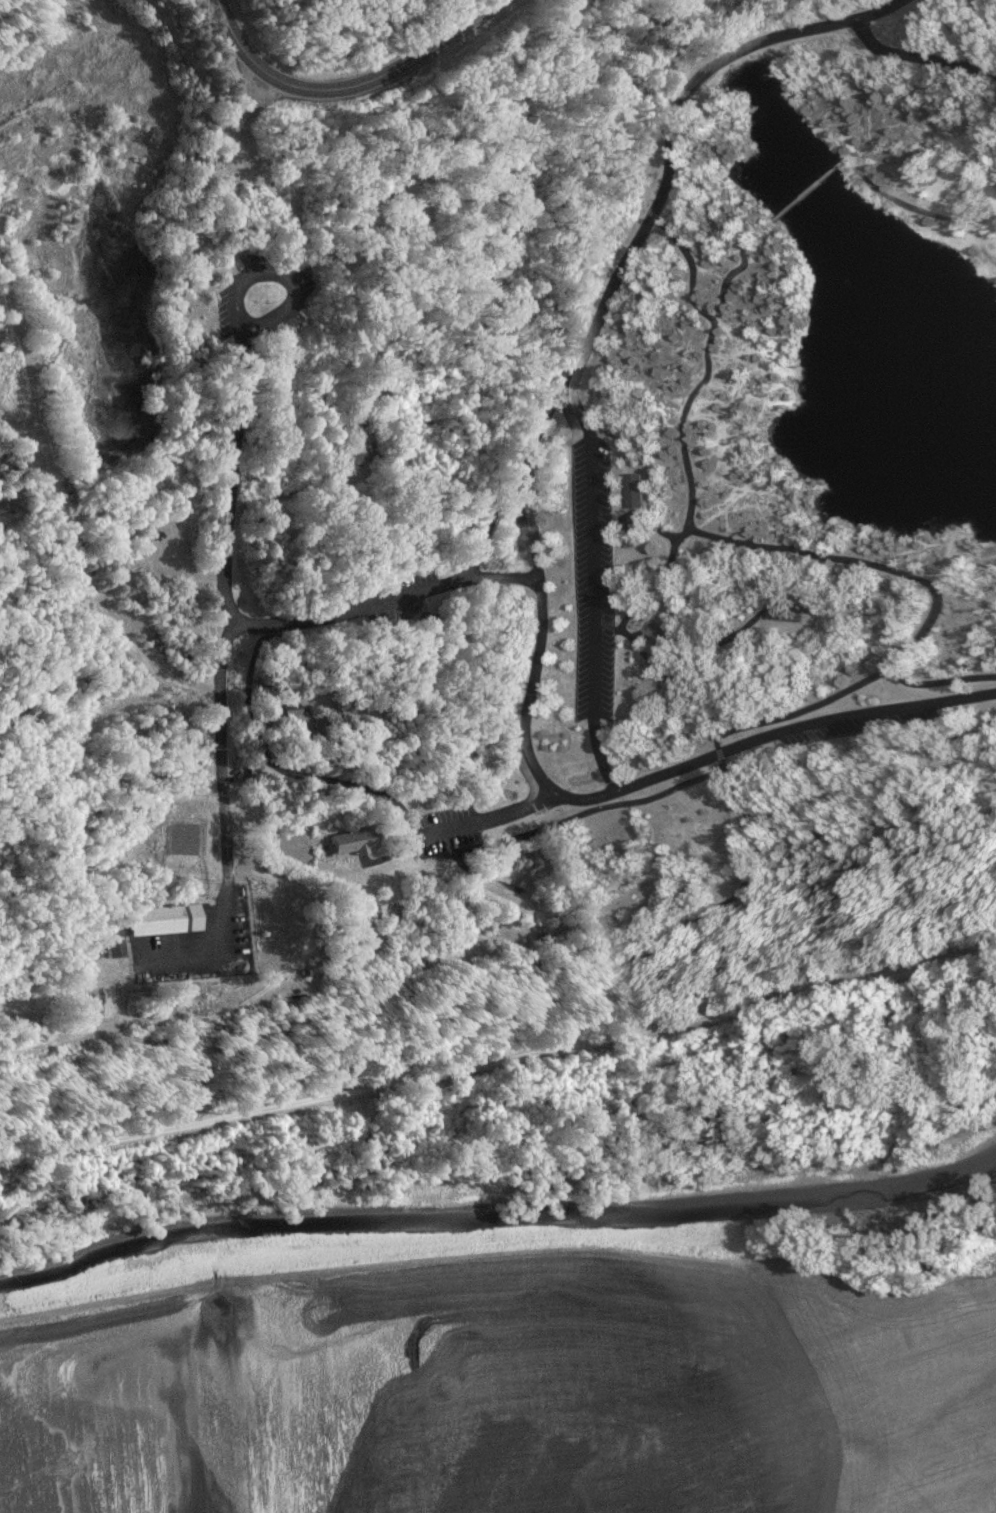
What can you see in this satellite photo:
road: (663, 61)
road: (916, 62)
road: (351, 84)
road: (796, 194)
road: (920, 211)
road: (729, 271)
parking lot: (262, 298)
road: (29, 348)
road: (17, 421)
building: (366, 453)
road: (236, 461)
building: (631, 490)
road: (639, 519)
road: (494, 522)
road: (686, 523)
park: (483, 533)
road: (530, 543)
road: (501, 577)
parking lot: (587, 581)
road: (653, 588)
road: (589, 590)
road: (95, 592)
building: (786, 612)
parking lot: (384, 618)
road: (676, 670)
road: (880, 675)
road: (941, 678)
building: (361, 699)
road: (145, 706)
building: (289, 709)
building: (320, 723)
parking lot: (842, 723)
road: (285, 769)
road: (491, 819)
road: (571, 819)
road: (226, 824)
parking lot: (452, 830)
building: (356, 841)
road: (127, 859)
road: (697, 904)
building: (156, 921)
parking lot: (195, 955)
road: (71, 989)
road: (246, 1001)
road: (690, 1018)
road: (191, 1123)

